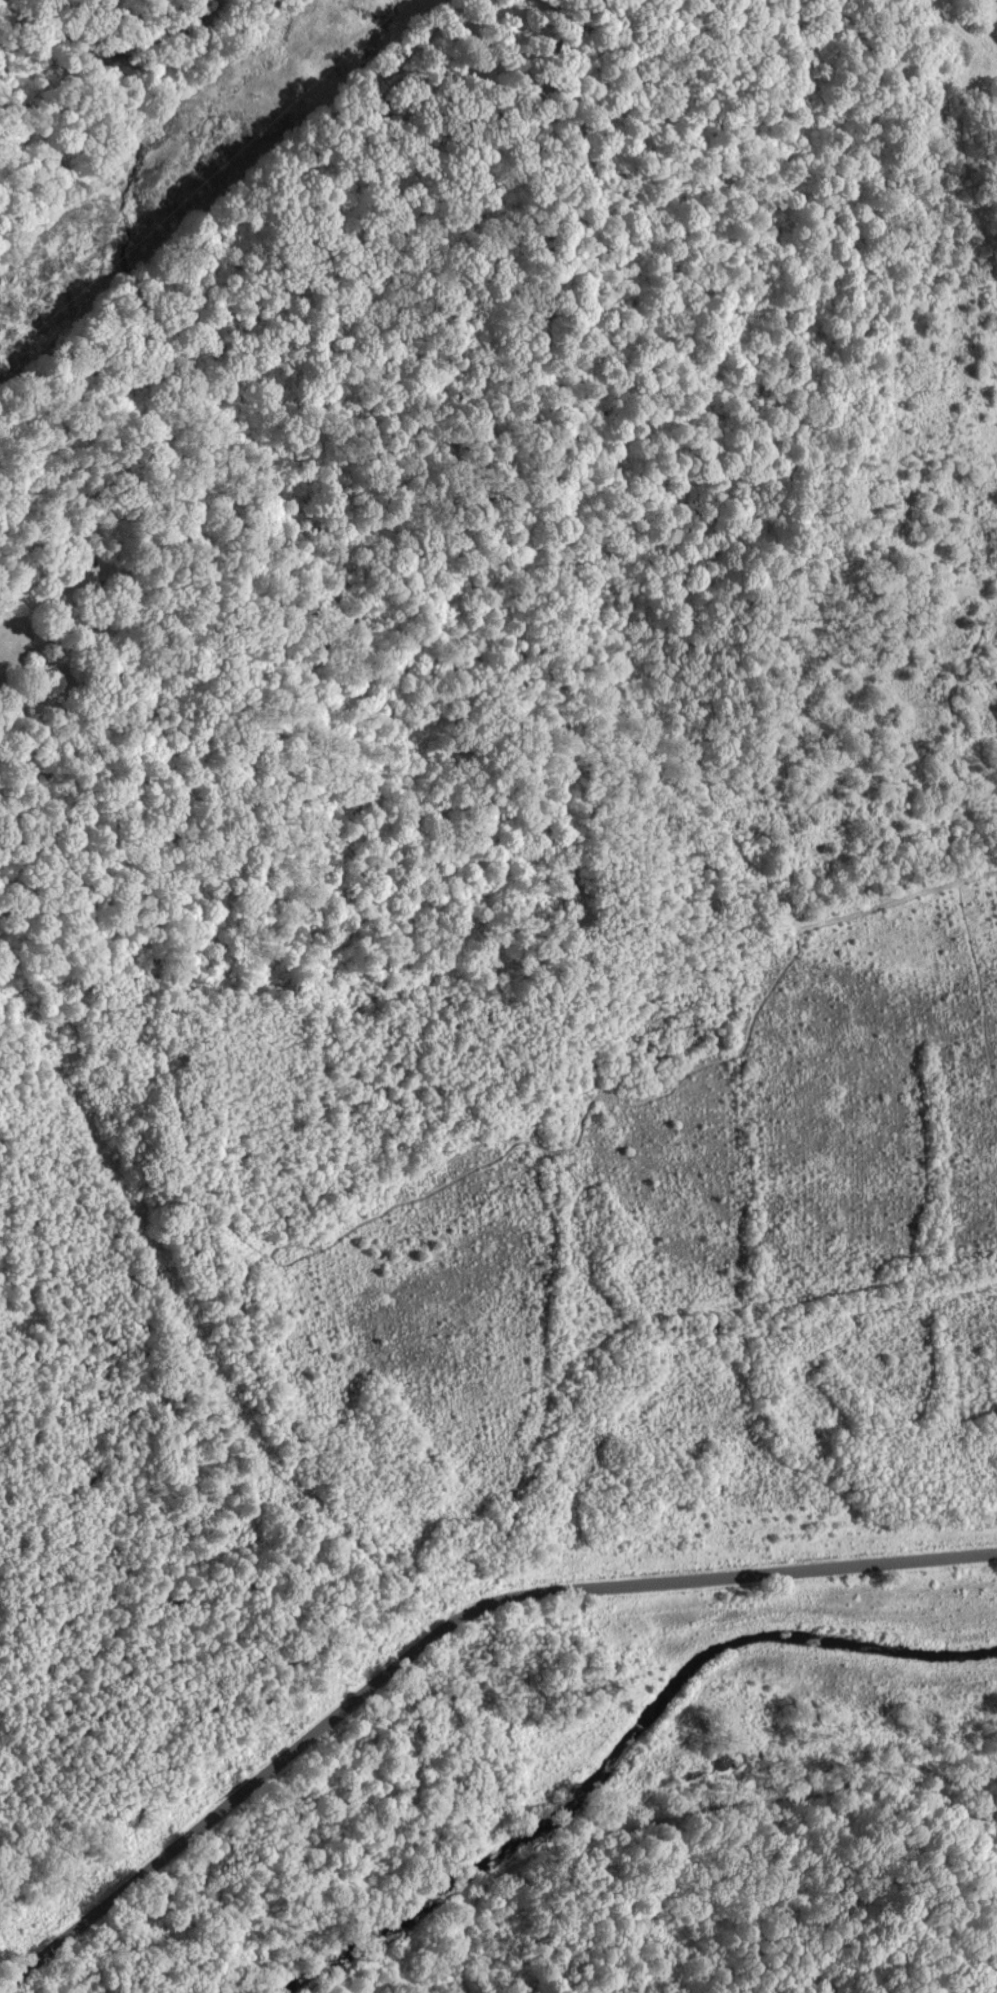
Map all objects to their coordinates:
road: (439, 1631)

